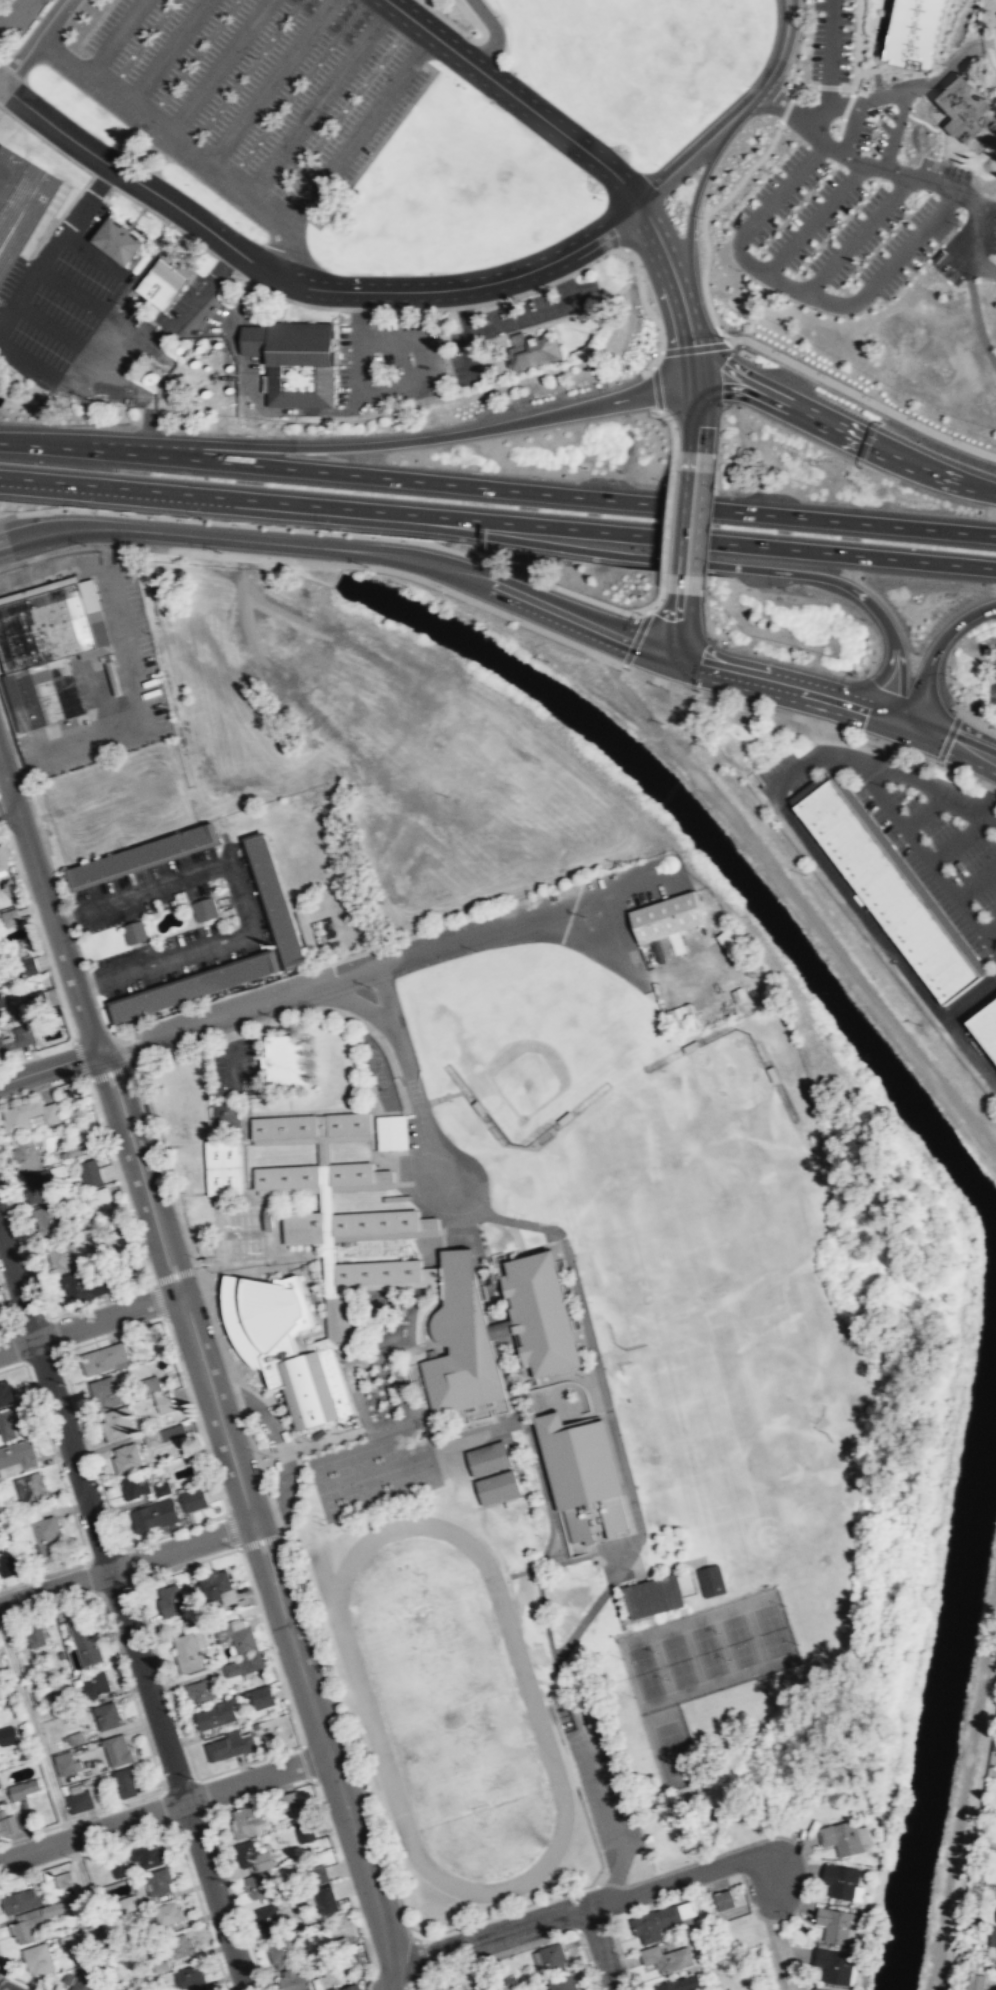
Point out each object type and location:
road: (15, 17)
parking lot: (17, 22)
building: (909, 31)
road: (494, 33)
road: (116, 39)
road: (32, 42)
park: (986, 43)
street lamp: (808, 44)
road: (856, 50)
road: (829, 53)
road: (961, 53)
road: (165, 54)
road: (216, 69)
road: (770, 73)
road: (268, 84)
road: (0, 85)
road: (801, 85)
road: (828, 86)
parking lot: (256, 96)
road: (515, 97)
road: (870, 98)
road: (318, 101)
road: (784, 109)
building: (960, 109)
street lamp: (787, 131)
road: (357, 132)
road: (43, 140)
road: (177, 147)
road: (678, 164)
road: (899, 170)
street lamp: (769, 171)
road: (134, 178)
road: (100, 180)
street lamp: (816, 185)
road: (783, 188)
street lamp: (915, 190)
park: (452, 191)
street lamp: (857, 204)
building: (25, 205)
road: (690, 211)
road: (156, 215)
street lamp: (700, 217)
road: (814, 217)
street lamp: (725, 218)
road: (703, 221)
street lamp: (899, 222)
street lamp: (957, 224)
parking lot: (830, 234)
road: (856, 234)
road: (911, 236)
street lamp: (770, 237)
building: (118, 240)
road: (53, 242)
road: (185, 251)
street lamp: (812, 254)
street lamp: (928, 257)
road: (976, 259)
parking lot: (966, 260)
road: (224, 263)
road: (110, 267)
street lamp: (738, 269)
street lamp: (855, 271)
road: (672, 272)
street lamp: (239, 279)
building: (161, 283)
road: (463, 286)
street lamp: (550, 287)
road: (791, 288)
street lamp: (888, 298)
road: (87, 299)
road: (494, 300)
road: (244, 301)
street lamp: (814, 308)
road: (544, 311)
parking lot: (99, 313)
street lamp: (443, 314)
road: (512, 318)
road: (977, 319)
parking lot: (509, 323)
road: (535, 325)
road: (469, 332)
road: (118, 334)
road: (64, 335)
street lamp: (726, 337)
building: (531, 351)
street lamp: (780, 351)
road: (132, 356)
building: (294, 360)
road: (492, 362)
parking lot: (364, 366)
road: (695, 368)
road: (647, 370)
street lamp: (825, 374)
road: (740, 376)
road: (390, 385)
road: (656, 387)
street lamp: (601, 389)
traffic signals: (698, 389)
road: (743, 393)
street lamp: (870, 396)
road: (863, 397)
road: (285, 410)
street lamp: (915, 418)
road: (697, 419)
road: (673, 436)
street lamp: (960, 439)
road: (418, 440)
road: (68, 447)
road: (890, 453)
road: (695, 460)
road: (101, 490)
road: (566, 493)
road: (667, 519)
road: (689, 521)
road: (116, 528)
road: (599, 531)
road: (328, 532)
street lamp: (129, 544)
road: (597, 552)
street lamp: (221, 553)
road: (319, 562)
street lamp: (367, 565)
road: (461, 572)
road: (683, 583)
road: (660, 592)
road: (679, 625)
road: (635, 638)
road: (934, 650)
building: (43, 654)
traffic signals: (676, 657)
road: (773, 684)
road: (780, 711)
road: (886, 716)
traffic signals: (902, 722)
road: (977, 722)
road: (948, 737)
road: (949, 739)
road: (828, 754)
road: (905, 767)
road: (958, 772)
road: (785, 776)
road: (920, 783)
road: (987, 785)
road: (975, 787)
road: (990, 800)
road: (7, 810)
road: (925, 811)
road: (990, 816)
road: (3, 820)
road: (959, 839)
building: (141, 855)
road: (925, 855)
building: (3, 859)
parking lot: (174, 864)
road: (140, 867)
road: (53, 872)
road: (977, 882)
road: (914, 883)
parking lot: (102, 887)
building: (885, 891)
road: (792, 892)
parking lot: (255, 896)
road: (239, 897)
building: (276, 900)
parking lot: (147, 905)
road: (48, 909)
building: (204, 909)
building: (10, 917)
building: (665, 923)
road: (990, 928)
road: (39, 931)
building: (134, 931)
road: (881, 938)
street lamp: (78, 943)
parking lot: (158, 944)
building: (25, 964)
road: (363, 971)
road: (182, 979)
building: (0, 981)
building: (195, 987)
building: (740, 994)
road: (970, 999)
building: (37, 1000)
building: (1, 1001)
road: (295, 1011)
building: (683, 1018)
road: (294, 1021)
building: (985, 1027)
park: (529, 1028)
building: (18, 1037)
road: (36, 1051)
road: (229, 1051)
road: (123, 1052)
building: (288, 1057)
road: (80, 1059)
road: (253, 1060)
road: (50, 1065)
street lamp: (82, 1072)
road: (111, 1073)
road: (408, 1077)
road: (42, 1087)
road: (206, 1092)
road: (280, 1093)
road: (140, 1105)
road: (418, 1105)
road: (352, 1107)
building: (477, 1107)
building: (226, 1110)
road: (390, 1111)
road: (247, 1113)
building: (27, 1115)
building: (562, 1117)
road: (490, 1120)
building: (349, 1121)
building: (285, 1124)
building: (392, 1130)
road: (310, 1136)
road: (244, 1140)
road: (178, 1144)
road: (204, 1149)
building: (72, 1151)
building: (26, 1154)
road: (323, 1161)
building: (223, 1165)
road: (242, 1165)
building: (352, 1170)
building: (90, 1172)
building: (287, 1174)
road: (120, 1181)
road: (360, 1184)
building: (36, 1186)
road: (284, 1188)
building: (97, 1196)
park: (694, 1197)
street lamp: (10, 1213)
road: (177, 1213)
building: (53, 1216)
building: (247, 1216)
building: (375, 1219)
road: (216, 1220)
building: (304, 1225)
road: (393, 1232)
road: (327, 1235)
road: (23, 1245)
building: (244, 1246)
building: (62, 1255)
building: (378, 1269)
road: (174, 1275)
road: (369, 1284)
building: (86, 1285)
road: (100, 1299)
road: (158, 1299)
road: (6, 1308)
building: (536, 1313)
street lamp: (44, 1315)
building: (342, 1318)
road: (30, 1323)
road: (90, 1323)
road: (6, 1331)
road: (52, 1334)
road: (111, 1334)
building: (279, 1341)
building: (458, 1342)
road: (18, 1345)
road: (41, 1356)
building: (102, 1358)
road: (12, 1366)
building: (150, 1384)
building: (103, 1392)
building: (6, 1393)
building: (163, 1401)
road: (196, 1415)
road: (609, 1415)
building: (9, 1422)
building: (116, 1423)
building: (163, 1434)
road: (89, 1450)
park: (402, 1451)
building: (18, 1454)
building: (126, 1457)
road: (55, 1460)
park: (356, 1466)
building: (578, 1475)
park: (323, 1477)
park: (411, 1477)
street lamp: (95, 1484)
building: (134, 1485)
building: (30, 1487)
building: (162, 1488)
park: (365, 1493)
building: (192, 1499)
park: (331, 1504)
building: (154, 1515)
road: (254, 1520)
road: (232, 1530)
road: (174, 1531)
building: (0, 1535)
building: (48, 1539)
road: (259, 1541)
road: (104, 1554)
building: (8, 1561)
road: (127, 1563)
road: (185, 1564)
road: (127, 1565)
road: (43, 1573)
road: (93, 1576)
track: (324, 1577)
building: (711, 1579)
building: (214, 1582)
street lamp: (131, 1585)
road: (116, 1587)
building: (653, 1595)
building: (172, 1600)
road: (301, 1600)
road: (50, 1609)
road: (123, 1609)
park: (771, 1629)
building: (34, 1635)
building: (238, 1636)
park: (738, 1640)
building: (84, 1642)
road: (270, 1645)
park: (708, 1650)
building: (186, 1651)
park: (677, 1660)
building: (243, 1664)
building: (2, 1668)
park: (644, 1671)
road: (164, 1680)
street lamp: (161, 1681)
building: (94, 1683)
building: (201, 1690)
road: (130, 1691)
building: (261, 1696)
building: (55, 1702)
track: (448, 1707)
park: (449, 1707)
building: (215, 1714)
building: (105, 1715)
building: (10, 1731)
building: (76, 1738)
building: (228, 1747)
park: (672, 1747)
building: (116, 1750)
road: (248, 1761)
road: (307, 1761)
building: (64, 1763)
parking lot: (596, 1767)
road: (597, 1770)
street lamp: (193, 1778)
building: (125, 1780)
road: (178, 1784)
building: (23, 1788)
road: (963, 1789)
road: (202, 1795)
road: (260, 1795)
building: (0, 1797)
building: (79, 1801)
building: (289, 1801)
road: (167, 1806)
road: (60, 1807)
road: (164, 1808)
road: (81, 1816)
road: (190, 1818)
building: (247, 1819)
building: (11, 1823)
building: (305, 1833)
building: (842, 1837)
road: (86, 1852)
building: (148, 1855)
building: (251, 1855)
building: (118, 1869)
road: (615, 1873)
building: (316, 1874)
building: (63, 1879)
building: (840, 1880)
building: (158, 1881)
street lamp: (227, 1881)
building: (264, 1888)
building: (325, 1899)
building: (724, 1899)
building: (20, 1900)
building: (129, 1901)
road: (236, 1901)
road: (200, 1906)
road: (591, 1906)
building: (51, 1908)
building: (168, 1913)
building: (269, 1919)
building: (995, 1920)
building: (655, 1923)
building: (834, 1923)
building: (27, 1927)
building: (992, 1936)
building: (71, 1940)
building: (181, 1945)
road: (602, 1948)
building: (280, 1952)
building: (667, 1957)
building: (550, 1958)
building: (38, 1959)
road: (409, 1962)
road: (2, 1965)
building: (833, 1965)
road: (2, 1971)
road: (2, 1974)
building: (67, 1977)
building: (190, 1978)
street lamp: (258, 1978)
building: (293, 1980)
road: (22, 1981)
building: (87, 1981)
building: (974, 1981)
building: (562, 1982)
building: (681, 1983)
building: (350, 1987)
road: (404, 1988)
building: (443, 1988)
building: (332, 1989)
building: (815, 1989)

